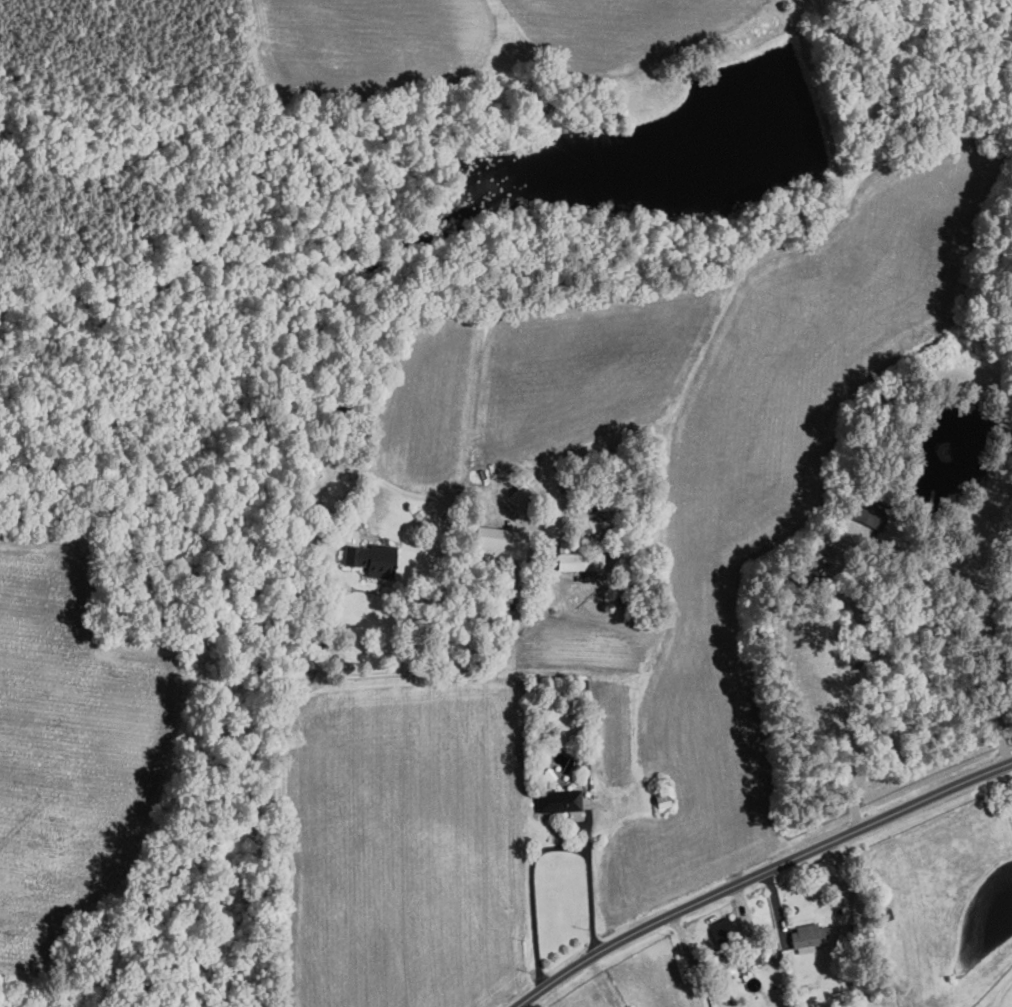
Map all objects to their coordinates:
building: (526, 493)
road: (491, 504)
building: (869, 513)
road: (857, 541)
building: (501, 542)
building: (373, 559)
building: (581, 561)
road: (886, 686)
road: (1005, 785)
building: (557, 801)
building: (662, 804)
road: (286, 845)
road: (759, 873)
road: (589, 882)
road: (531, 894)
road: (840, 924)
building: (723, 932)
building: (808, 935)
road: (602, 982)
road: (999, 993)

